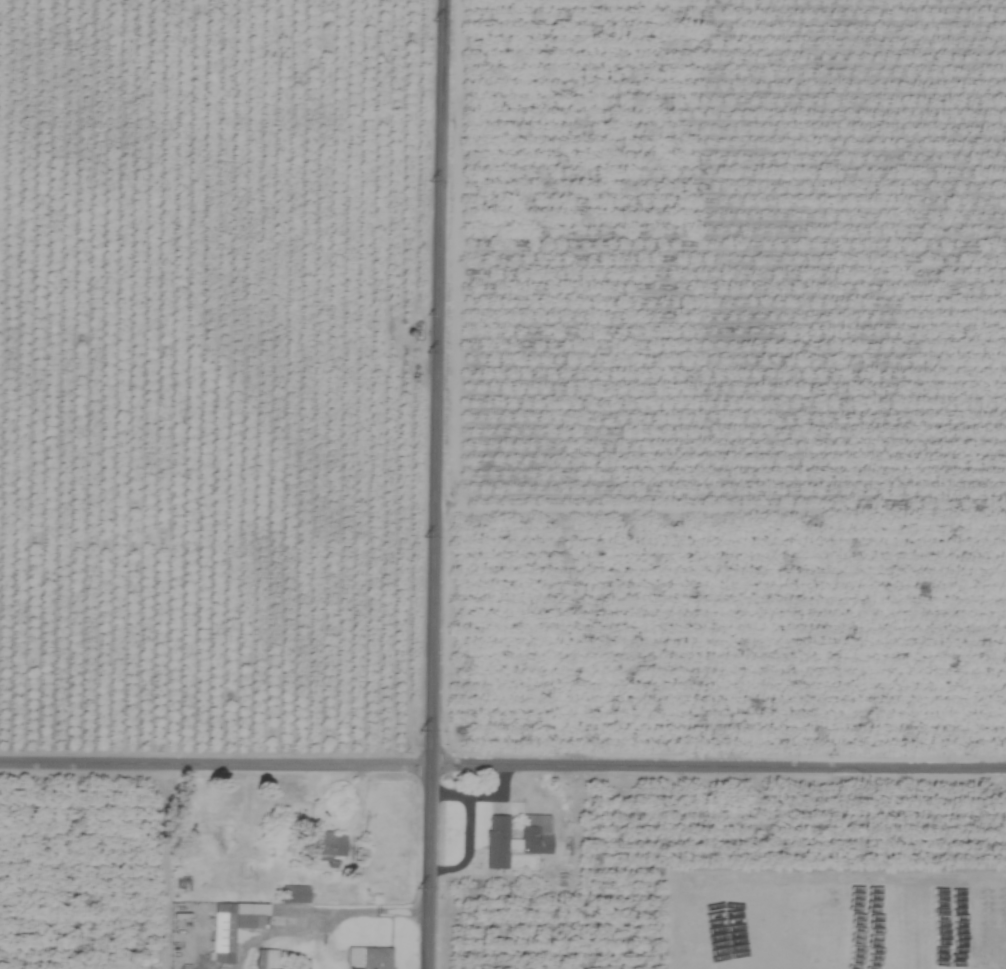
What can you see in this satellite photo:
crop: (516, 454)
road: (431, 484)
road: (502, 763)
building: (517, 844)
building: (328, 846)
building: (293, 894)
road: (357, 911)
building: (232, 927)
building: (368, 958)
building: (264, 959)

